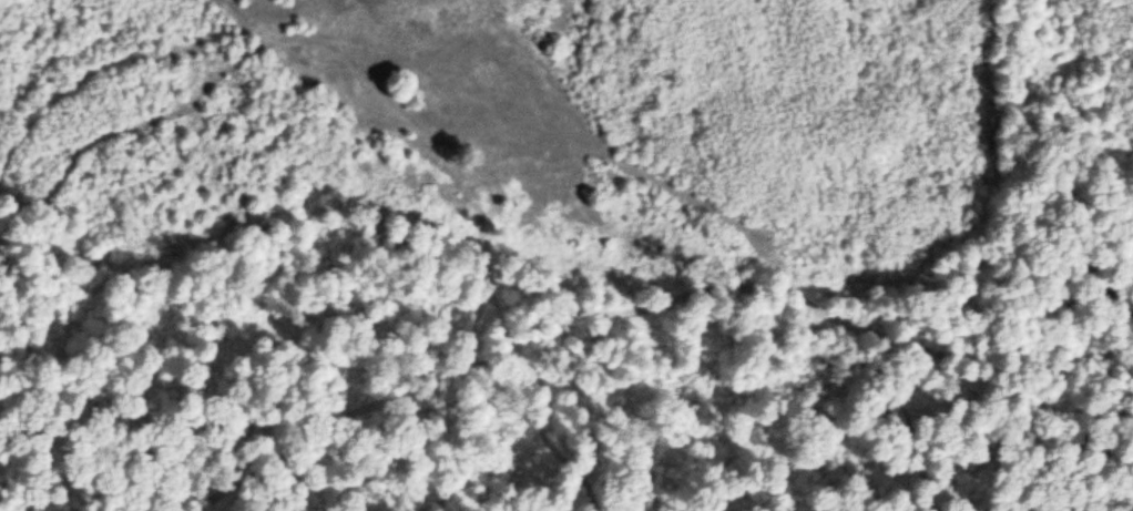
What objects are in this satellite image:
road: (486, 134)
road: (633, 289)

